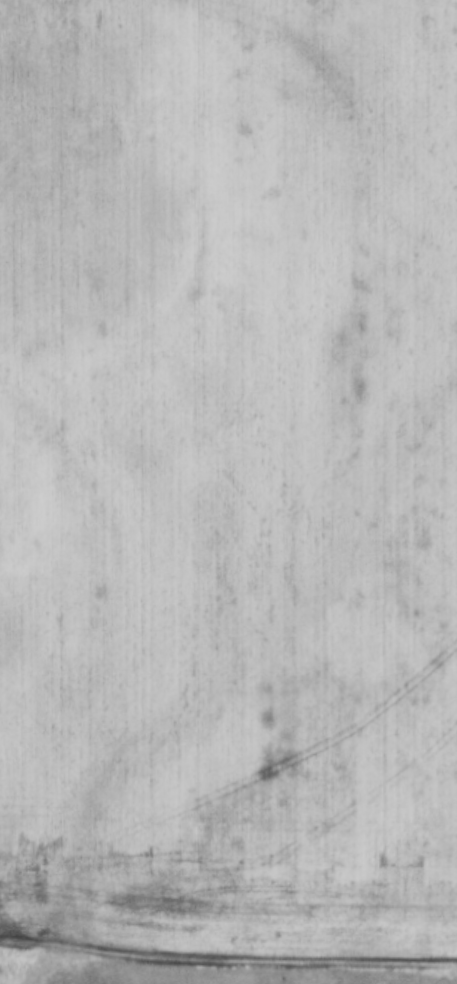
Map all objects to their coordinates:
road: (228, 956)

